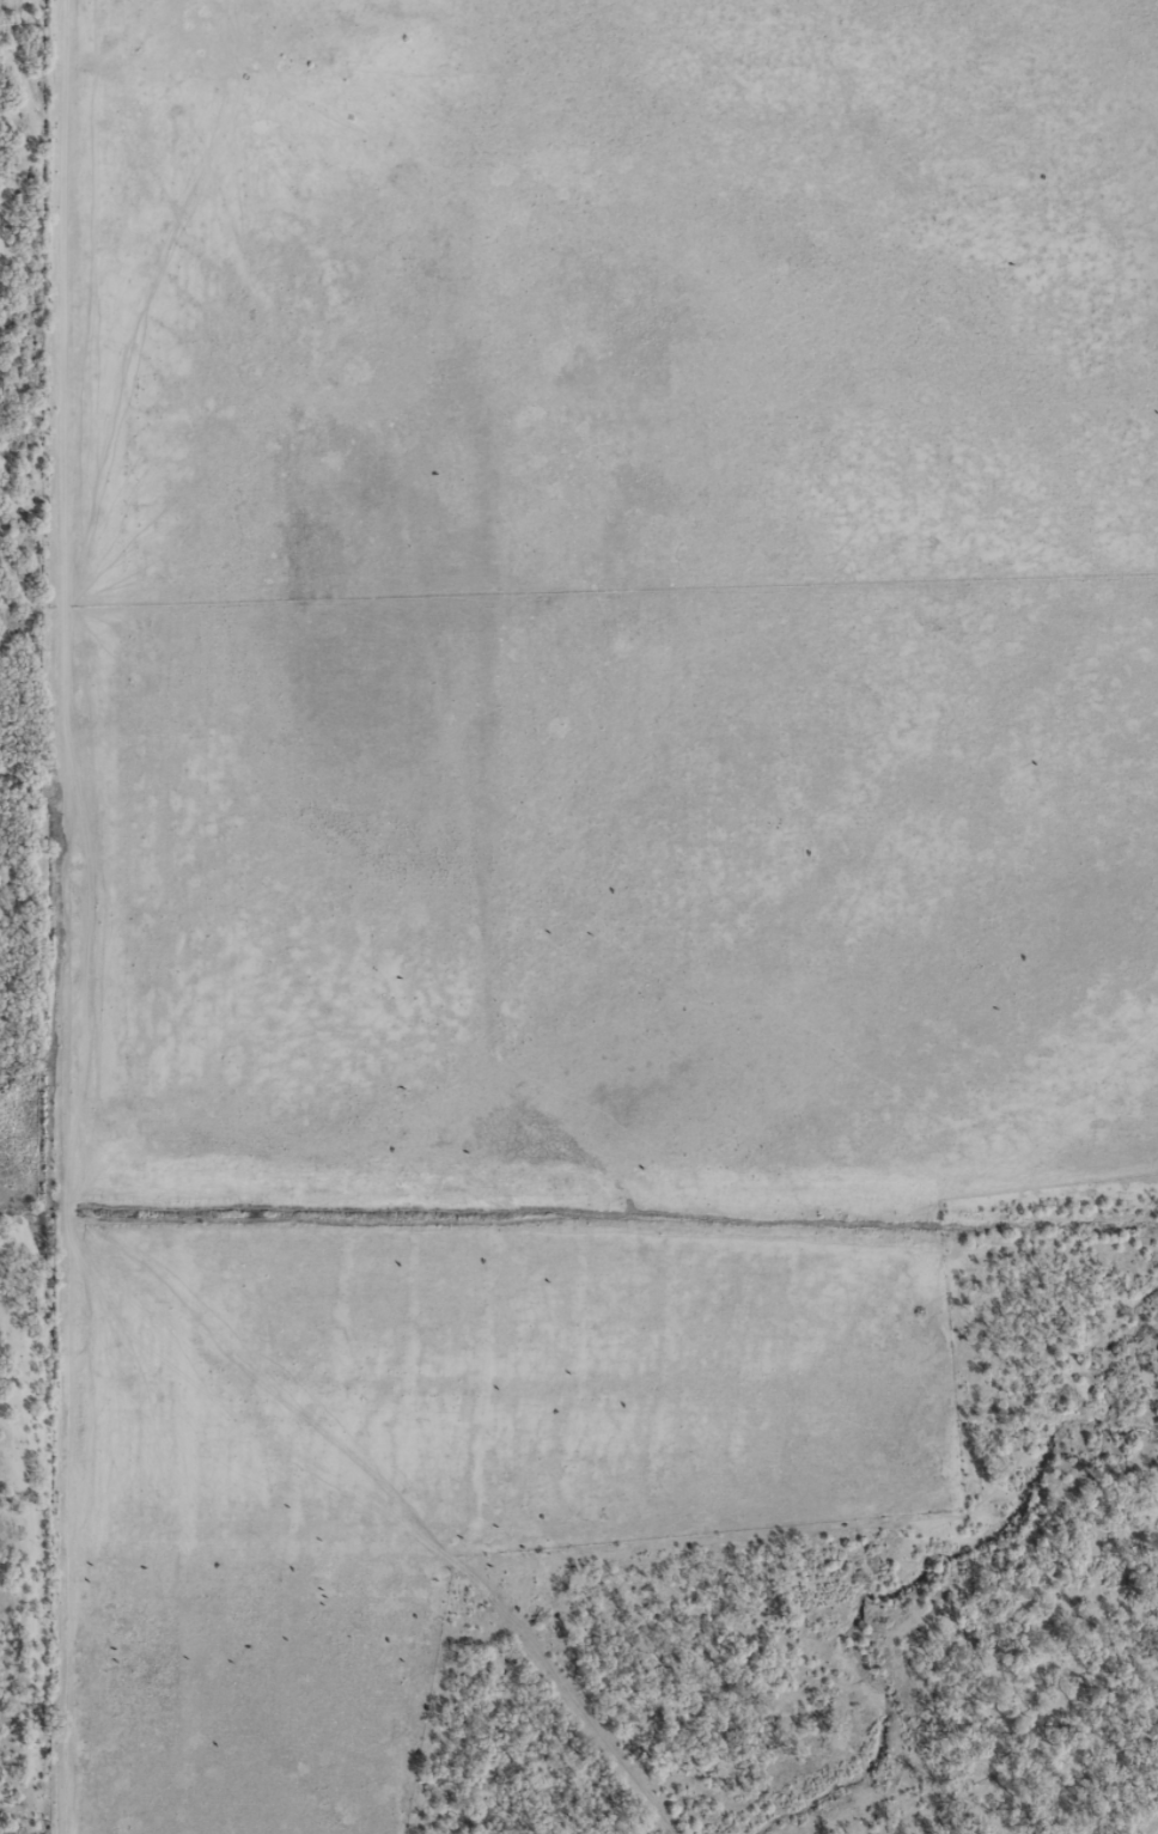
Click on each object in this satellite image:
road: (61, 916)

